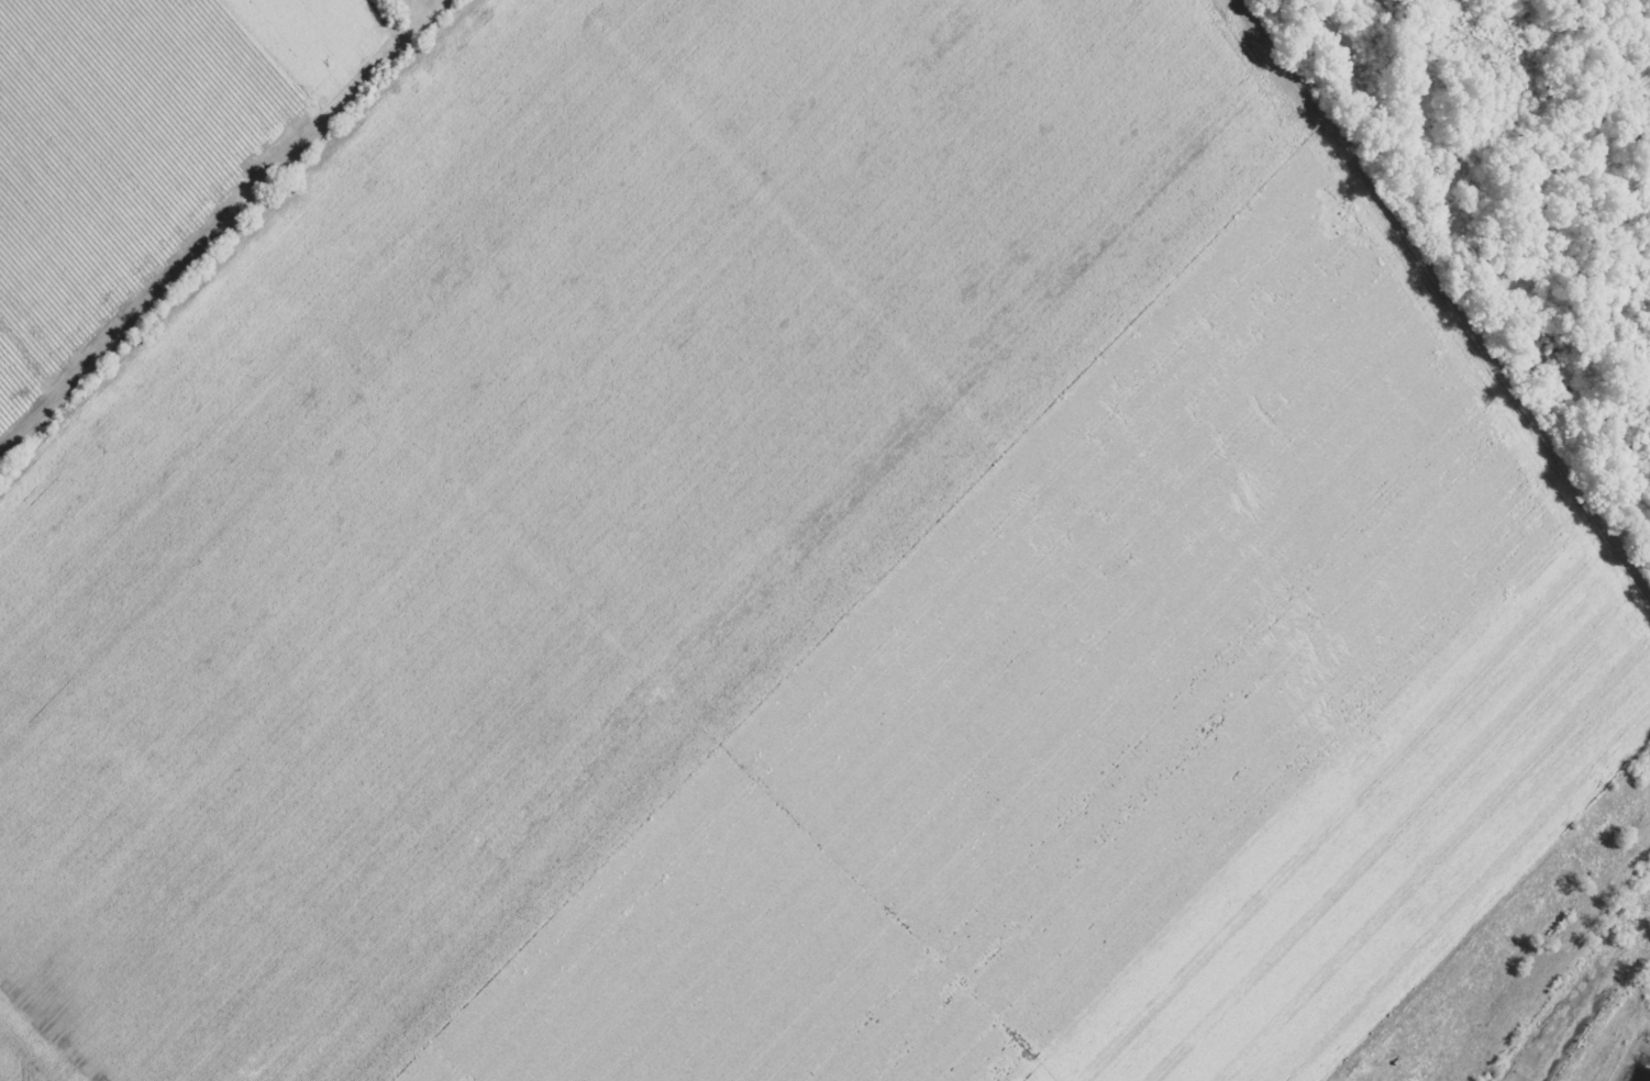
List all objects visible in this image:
road: (1436, 311)

